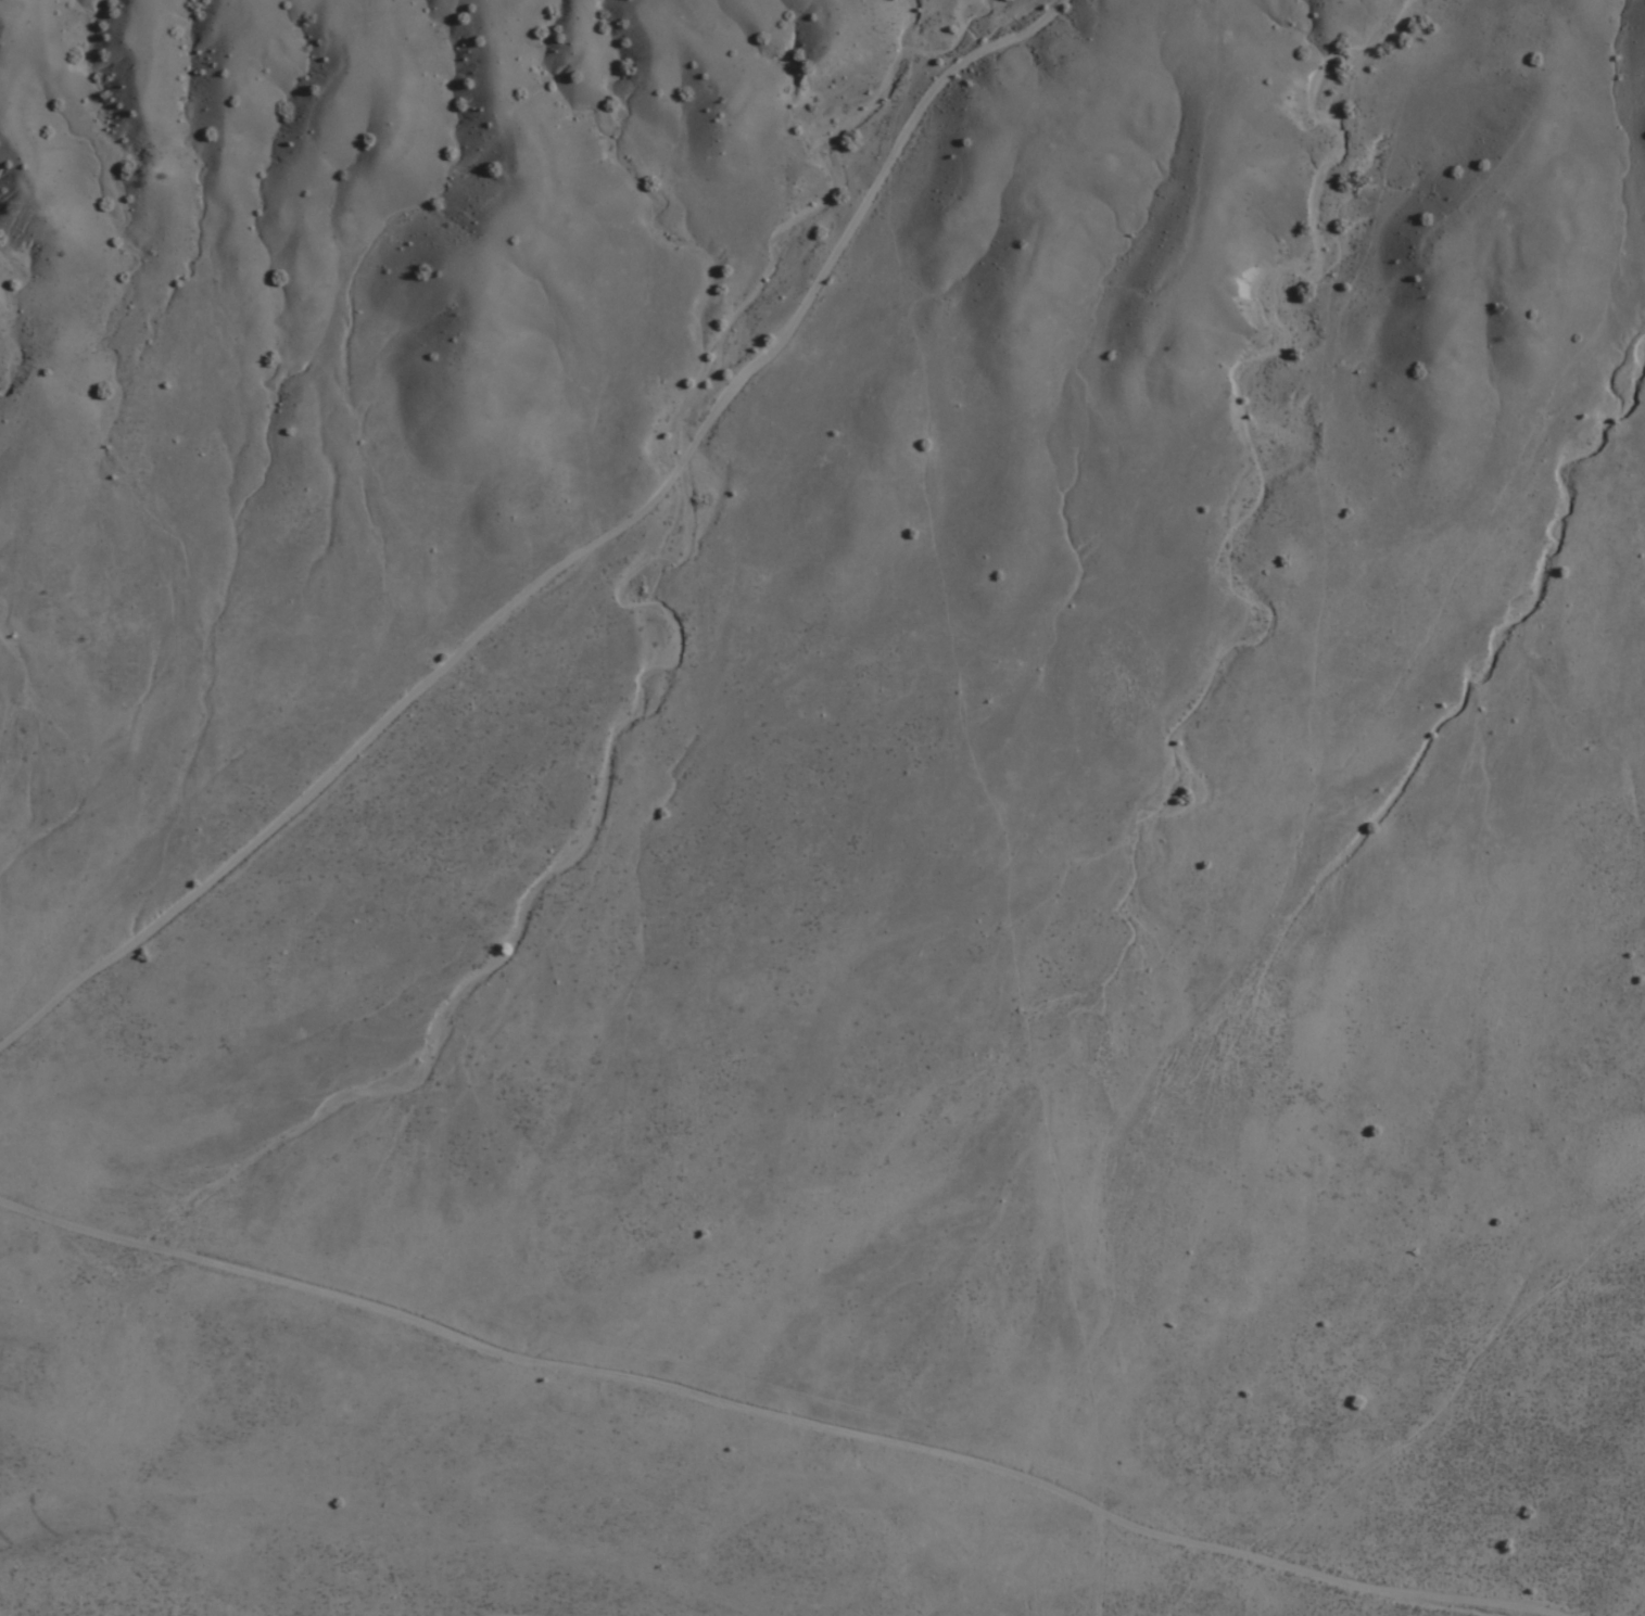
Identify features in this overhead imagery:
road: (557, 601)
road: (801, 1439)

